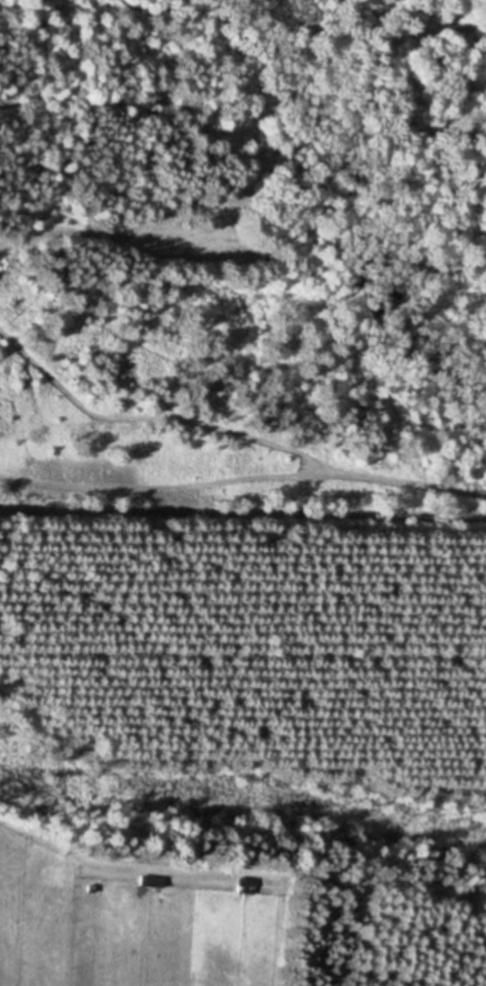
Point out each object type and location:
road: (243, 514)
building: (150, 881)

